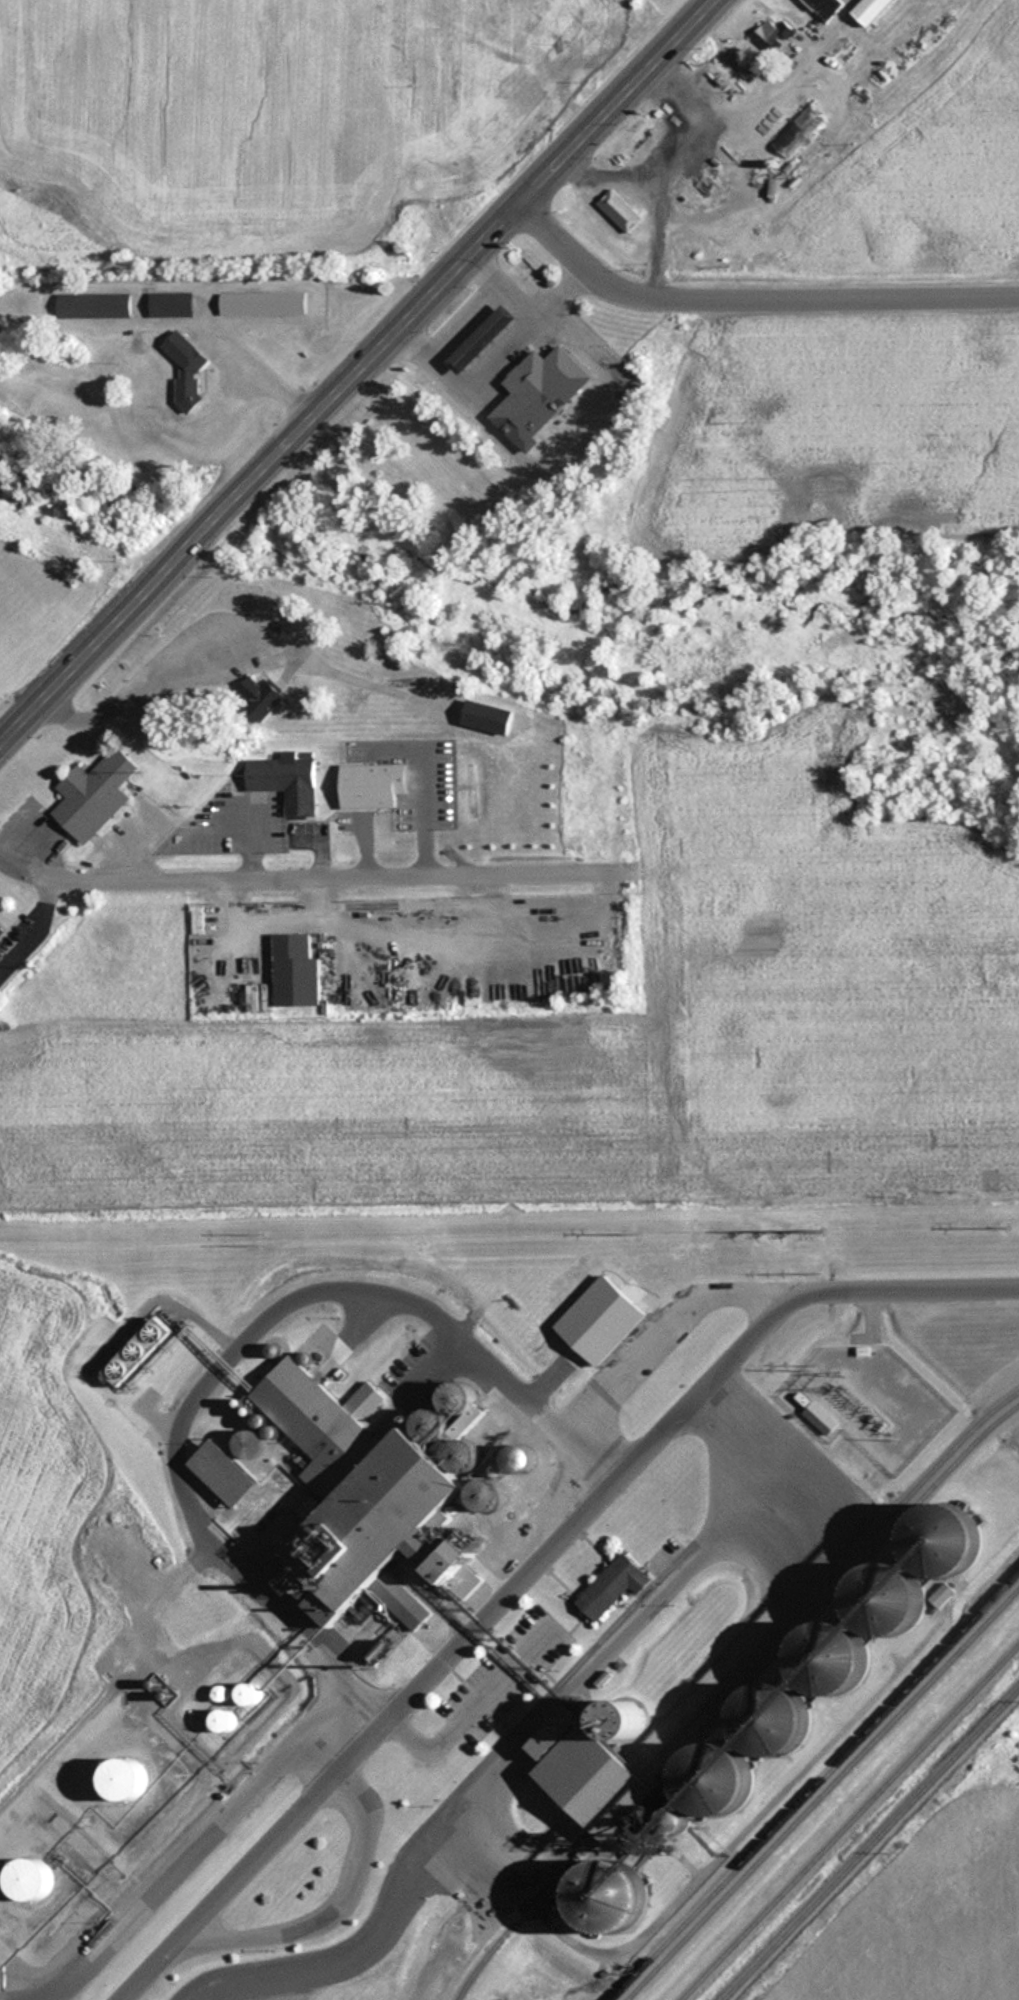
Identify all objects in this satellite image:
building: (823, 7)
building: (869, 10)
building: (773, 33)
road: (713, 109)
road: (734, 187)
building: (619, 211)
road: (649, 247)
road: (750, 298)
building: (261, 303)
building: (93, 304)
building: (170, 304)
building: (481, 339)
road: (356, 367)
building: (185, 369)
building: (538, 394)
building: (259, 696)
building: (487, 717)
building: (284, 782)
building: (93, 796)
road: (313, 877)
building: (1, 930)
building: (294, 969)
power tower: (1009, 1230)
power tower: (826, 1232)
power tower: (641, 1234)
power tower: (272, 1240)
road: (875, 1318)
road: (866, 1338)
road: (637, 1349)
road: (207, 1364)
power substation: (873, 1403)
building: (825, 1420)
building: (251, 1442)
building: (523, 1458)
building: (366, 1500)
road: (531, 1565)
road: (162, 1585)
building: (613, 1586)
building: (865, 1629)
railway: (734, 1695)
building: (222, 1720)
building: (567, 1765)
building: (122, 1780)
building: (709, 1785)
railway: (814, 1786)
railway: (820, 1793)
railway: (849, 1822)
railway: (870, 1844)
road: (184, 1856)
building: (30, 1879)
building: (610, 1896)

